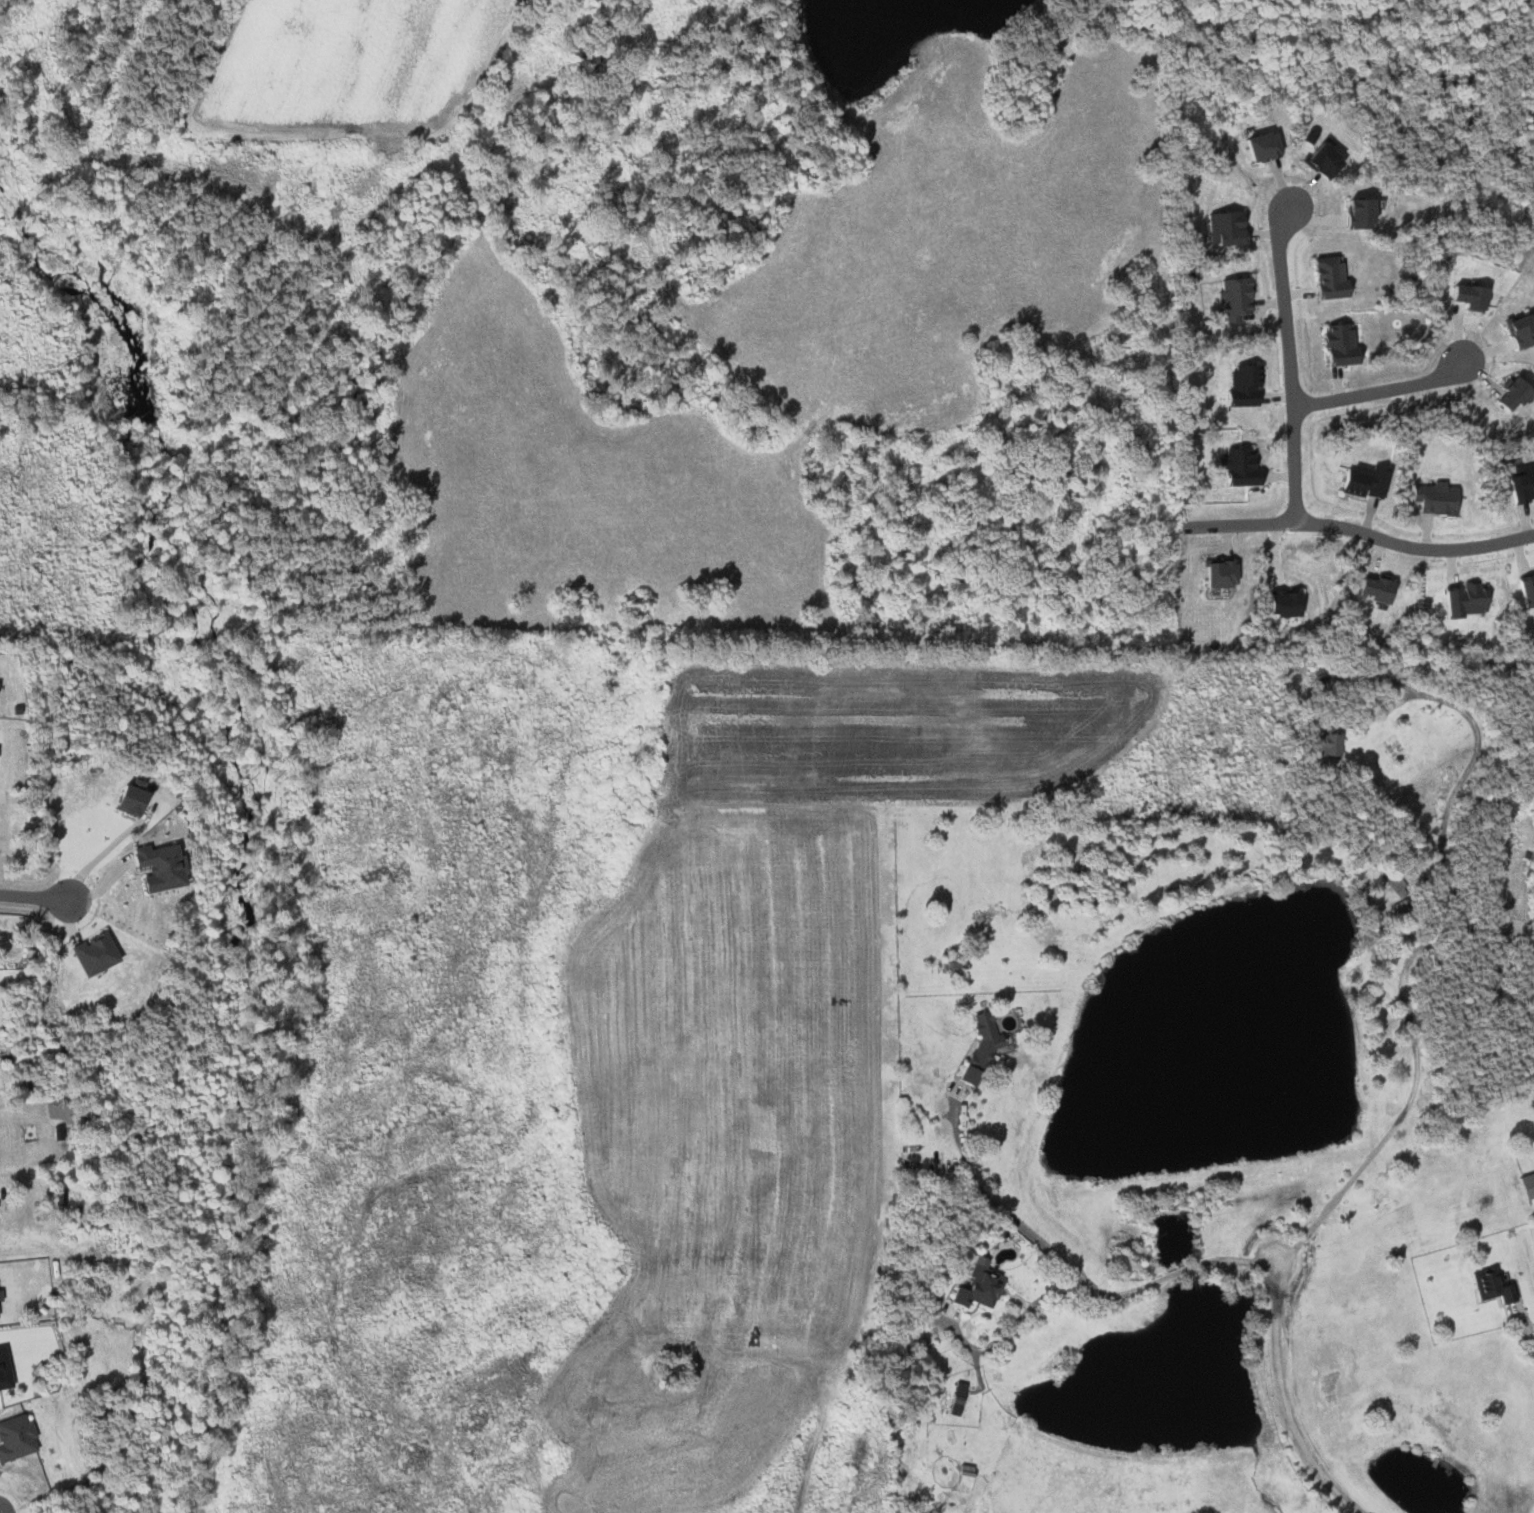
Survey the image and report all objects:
building: (1255, 147)
building: (1316, 160)
building: (1357, 214)
building: (1222, 229)
building: (1326, 279)
building: (1463, 297)
building: (1232, 299)
building: (1517, 330)
building: (1336, 345)
road: (1278, 362)
road: (1365, 385)
building: (1240, 387)
building: (1506, 394)
building: (1235, 469)
building: (1358, 482)
building: (1519, 483)
building: (1433, 498)
road: (1354, 531)
building: (1217, 574)
building: (1523, 589)
building: (1371, 591)
building: (1460, 599)
building: (1279, 605)
building: (1327, 742)
building: (137, 800)
road: (100, 855)
building: (167, 866)
road: (34, 895)
building: (101, 953)
building: (986, 1049)
road: (1406, 1111)
building: (1525, 1185)
road: (1073, 1271)
building: (1491, 1286)
building: (984, 1287)
building: (1, 1308)
road: (1024, 1314)
road: (1522, 1327)
building: (7, 1369)
building: (961, 1399)
road: (1280, 1399)
building: (19, 1438)

